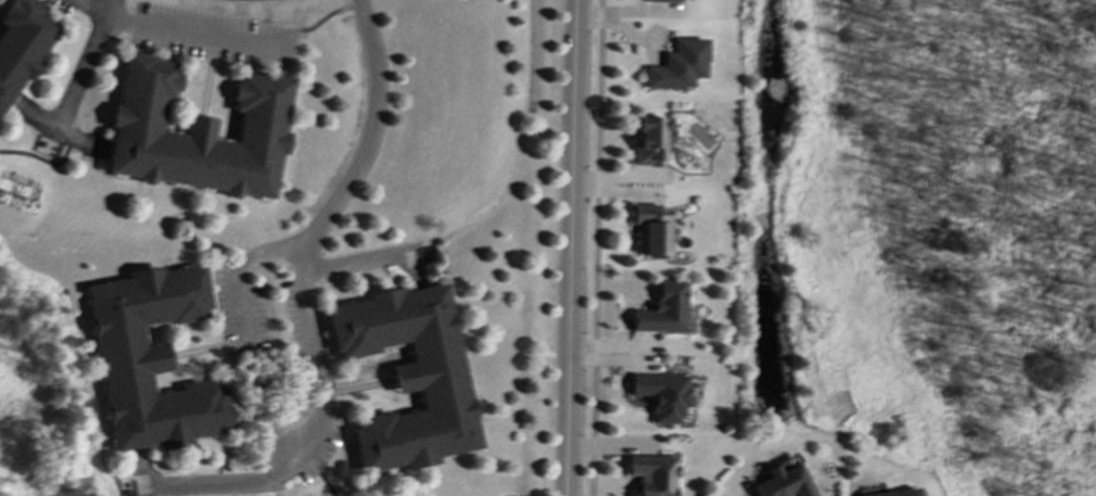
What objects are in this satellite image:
building: (661, 0)
road: (183, 33)
building: (21, 42)
road: (86, 62)
building: (676, 64)
building: (195, 131)
road: (366, 132)
building: (648, 140)
building: (651, 229)
road: (570, 247)
road: (594, 247)
road: (348, 262)
road: (240, 270)
building: (660, 308)
building: (150, 358)
building: (407, 376)
building: (659, 393)
road: (314, 428)
building: (649, 473)
building: (780, 482)
building: (889, 493)

